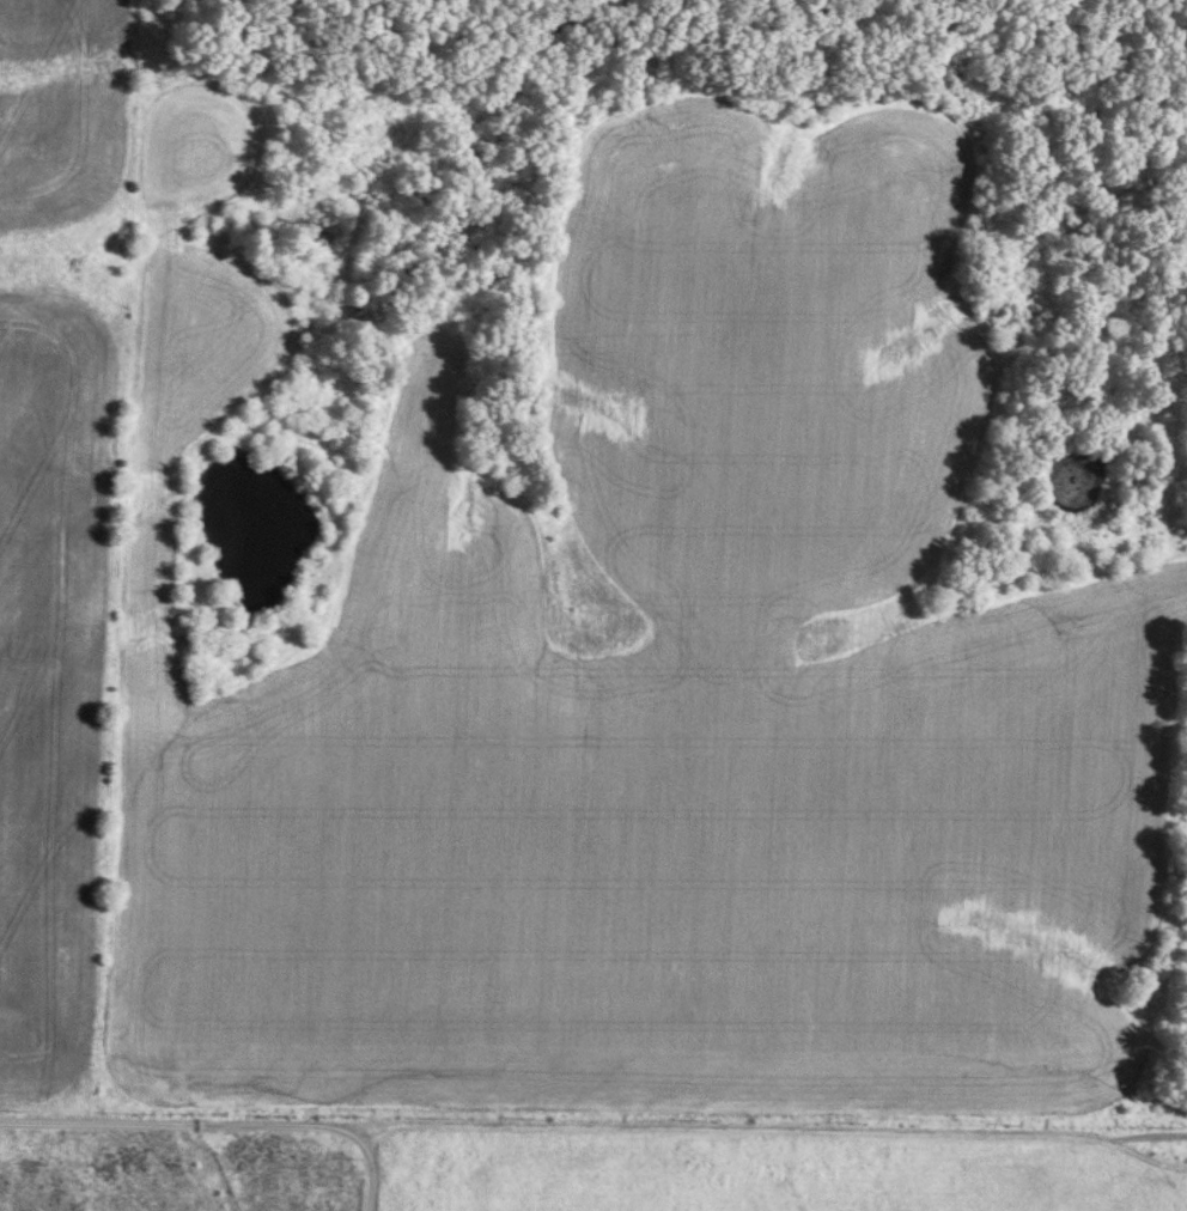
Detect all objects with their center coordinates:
road: (215, 1125)

